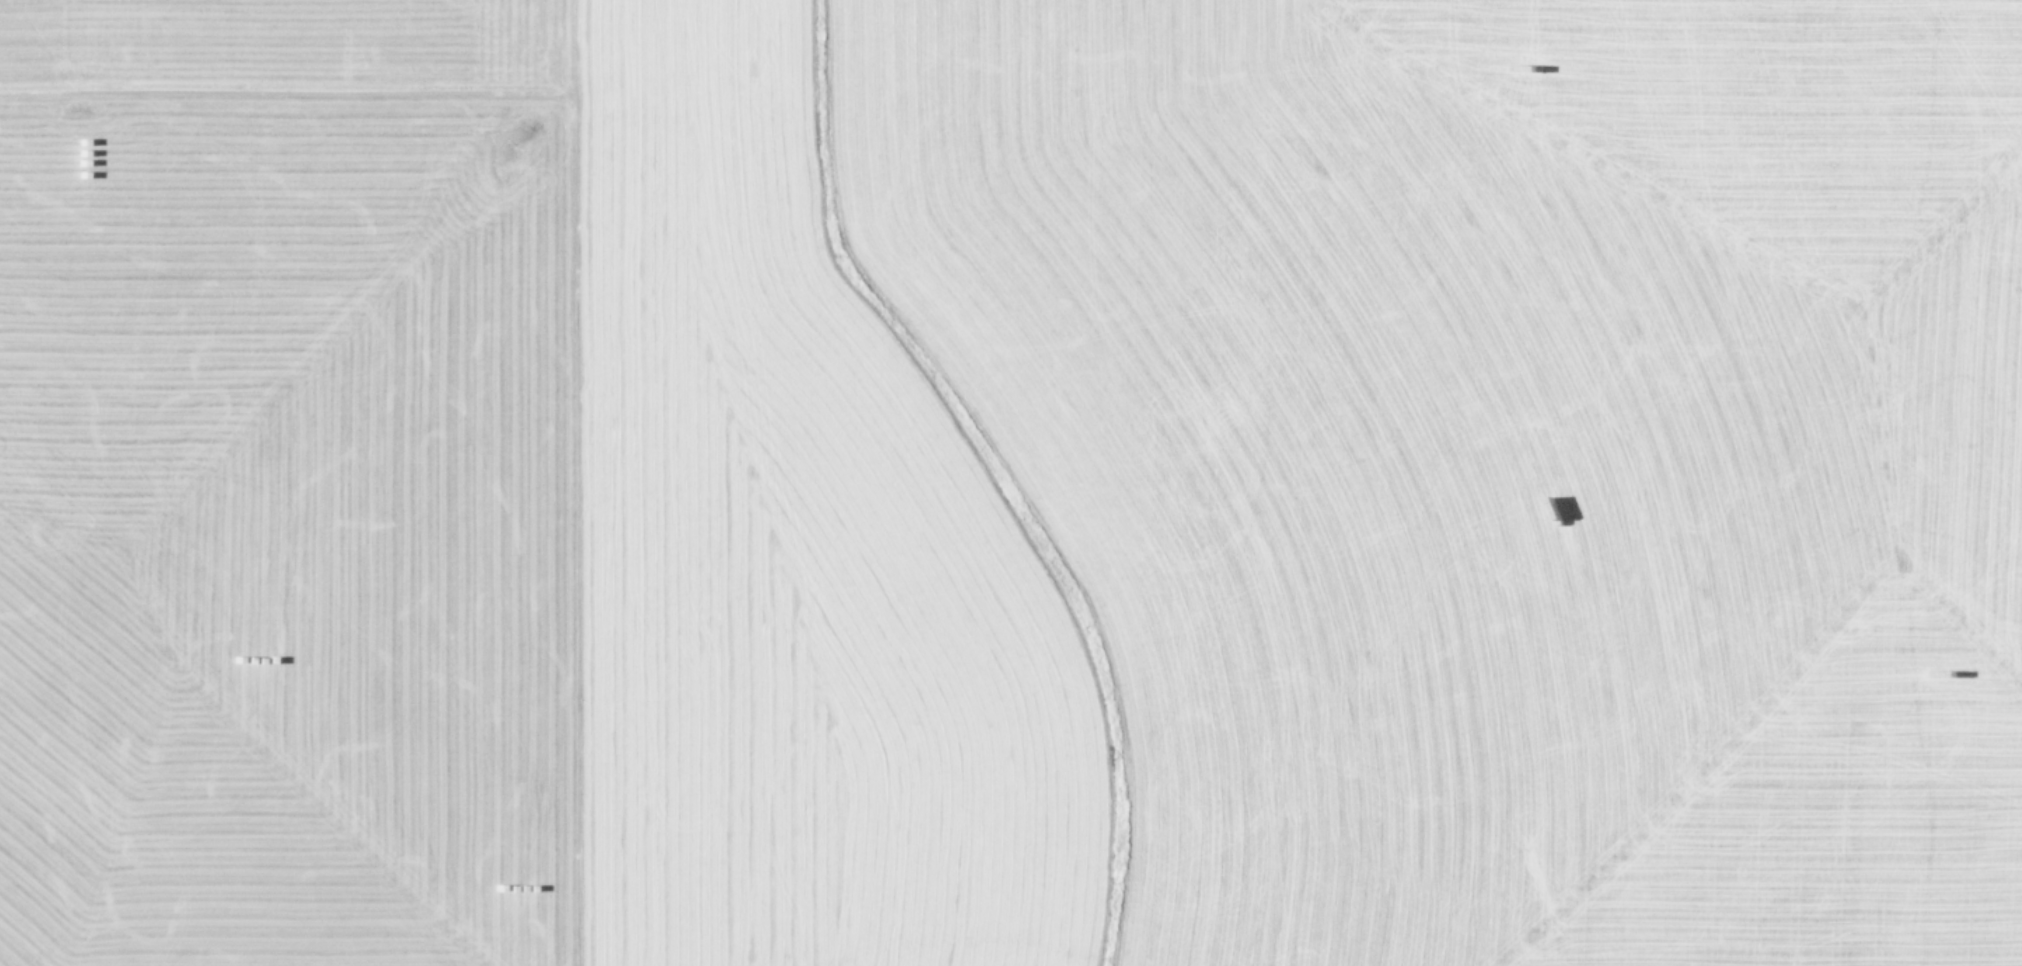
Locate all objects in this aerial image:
crop: (1011, 483)

